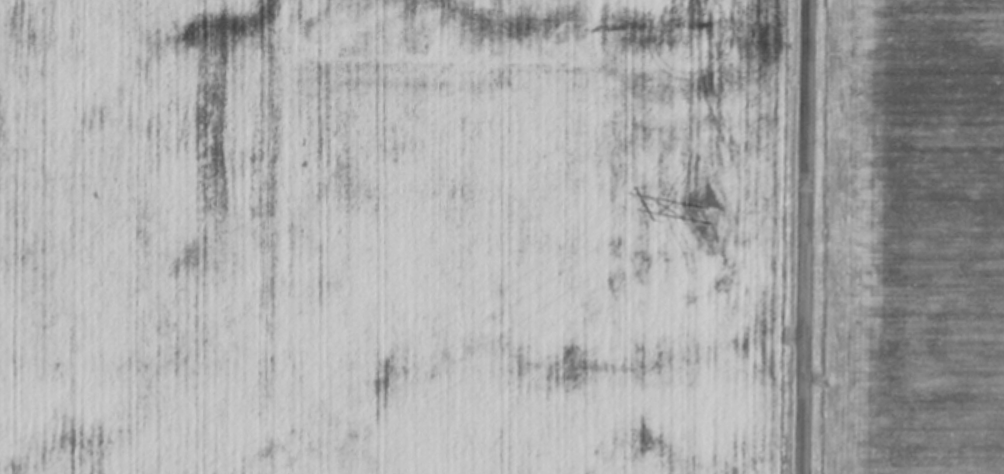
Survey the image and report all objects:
power tower: (707, 214)
road: (807, 237)

